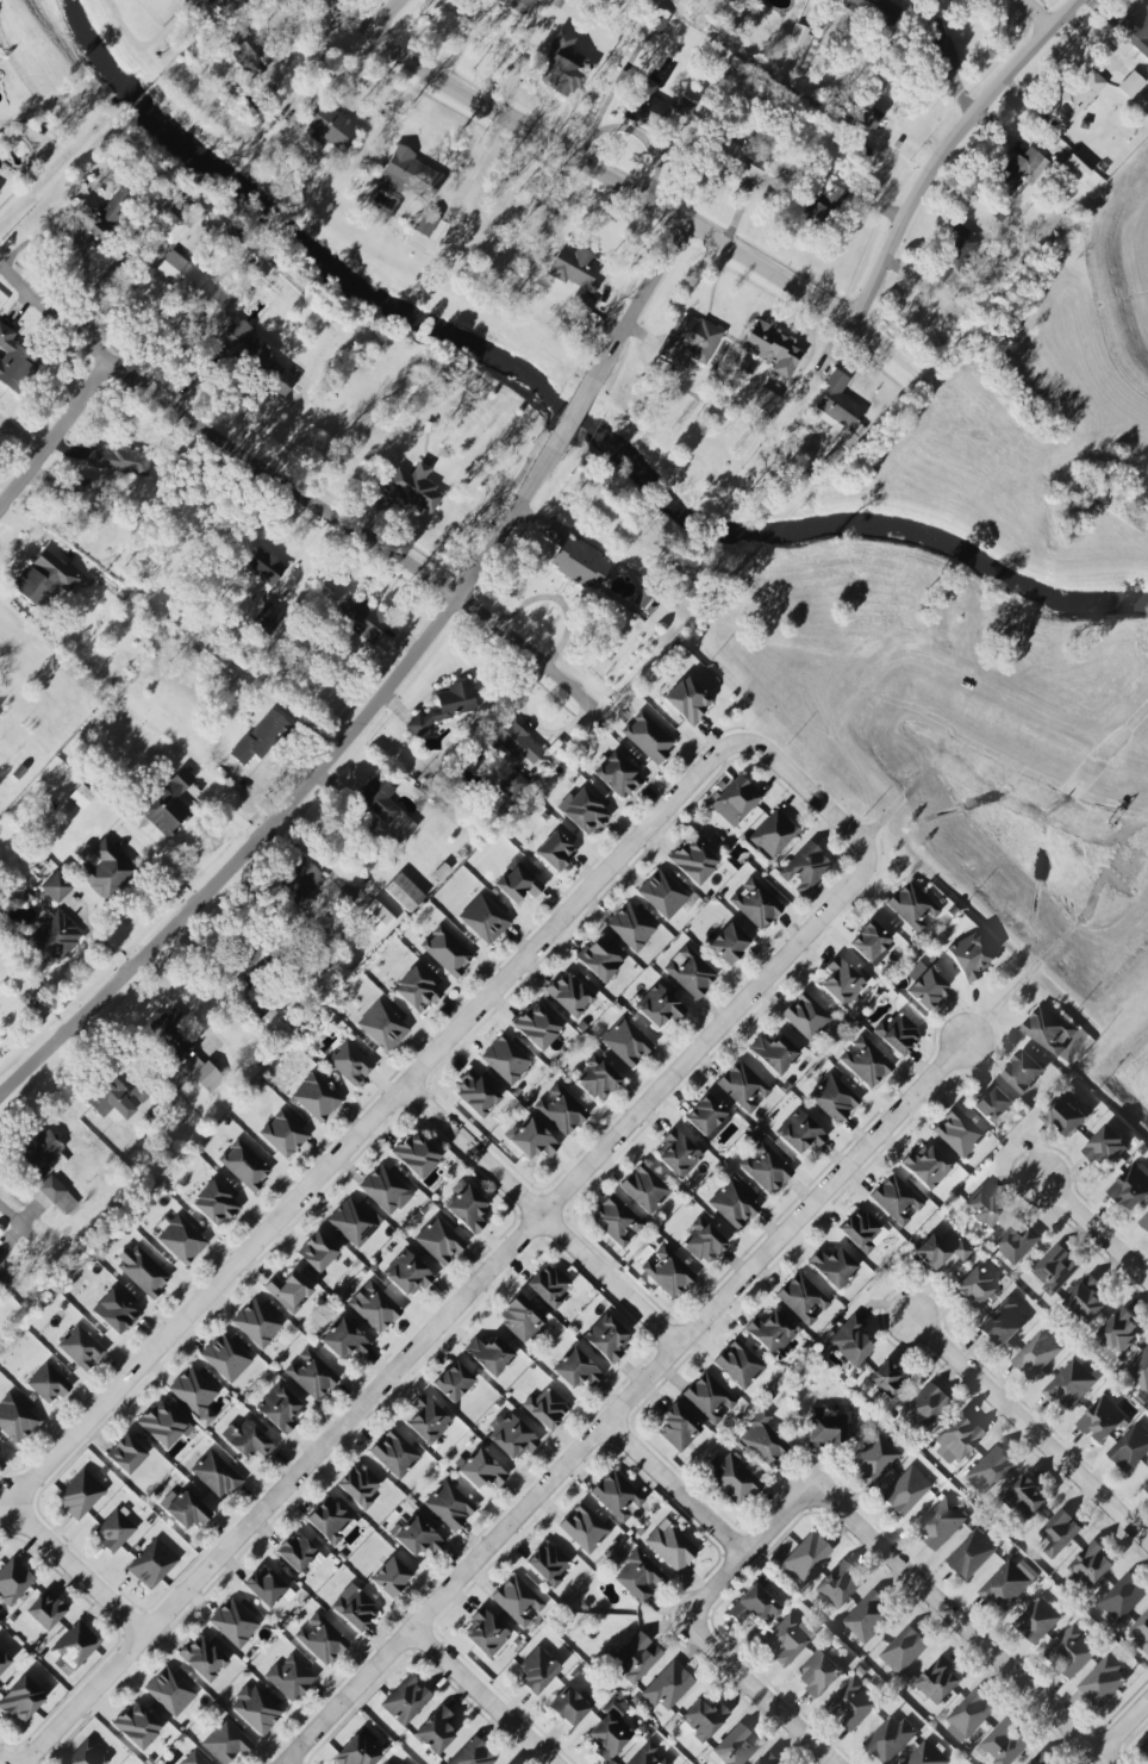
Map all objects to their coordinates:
building: (183, 0)
building: (518, 5)
building: (874, 11)
road: (381, 15)
road: (1028, 17)
road: (478, 30)
building: (1137, 32)
building: (798, 35)
road: (146, 43)
building: (941, 45)
building: (247, 51)
building: (562, 66)
building: (1130, 85)
building: (1077, 96)
building: (661, 111)
building: (868, 117)
building: (331, 127)
road: (634, 131)
road: (944, 148)
building: (738, 160)
building: (1074, 168)
building: (1021, 170)
building: (408, 176)
road: (625, 188)
building: (824, 205)
building: (100, 217)
building: (425, 224)
building: (173, 230)
road: (75, 243)
building: (956, 254)
building: (576, 275)
building: (191, 282)
road: (644, 289)
building: (691, 339)
building: (773, 349)
building: (252, 356)
building: (13, 361)
building: (765, 401)
building: (837, 404)
road: (572, 412)
road: (54, 430)
building: (118, 460)
road: (301, 487)
building: (414, 488)
building: (575, 557)
building: (262, 571)
building: (43, 579)
building: (268, 617)
building: (364, 621)
building: (687, 700)
building: (450, 704)
road: (530, 725)
building: (648, 737)
building: (261, 738)
building: (513, 741)
building: (617, 775)
building: (512, 785)
road: (807, 792)
building: (81, 797)
building: (736, 800)
building: (168, 804)
road: (295, 804)
building: (385, 806)
building: (585, 812)
building: (770, 834)
building: (555, 852)
building: (693, 861)
building: (104, 868)
building: (805, 868)
building: (517, 883)
building: (301, 884)
building: (56, 886)
building: (404, 892)
building: (662, 893)
building: (755, 903)
building: (912, 906)
building: (376, 918)
building: (483, 918)
building: (631, 927)
building: (54, 939)
building: (728, 943)
building: (871, 943)
building: (447, 952)
building: (969, 958)
building: (599, 960)
building: (242, 972)
building: (690, 972)
building: (842, 981)
building: (924, 986)
building: (417, 990)
building: (569, 995)
building: (659, 1006)
building: (806, 1017)
building: (382, 1026)
building: (537, 1027)
building: (1049, 1030)
building: (897, 1034)
building: (626, 1042)
building: (185, 1051)
building: (774, 1053)
building: (506, 1059)
building: (865, 1061)
building: (350, 1062)
building: (1023, 1072)
building: (598, 1078)
building: (743, 1086)
building: (476, 1093)
building: (316, 1097)
building: (111, 1098)
building: (832, 1098)
building: (993, 1104)
building: (560, 1110)
building: (1065, 1114)
building: (707, 1117)
road: (374, 1120)
building: (800, 1133)
building: (957, 1133)
building: (283, 1134)
building: (532, 1140)
building: (1106, 1146)
building: (43, 1154)
building: (417, 1154)
building: (678, 1154)
building: (244, 1166)
building: (926, 1166)
building: (766, 1167)
building: (1131, 1186)
building: (51, 1189)
building: (383, 1189)
building: (644, 1189)
building: (897, 1199)
building: (67, 1203)
building: (214, 1204)
building: (734, 1204)
building: (984, 1208)
building: (467, 1209)
road: (541, 1216)
building: (616, 1221)
building: (352, 1222)
building: (1144, 1222)
road: (1094, 1229)
building: (860, 1230)
road: (32, 1236)
building: (182, 1240)
building: (439, 1241)
building: (703, 1242)
building: (1017, 1243)
building: (941, 1251)
building: (317, 1252)
building: (0, 1261)
building: (832, 1266)
building: (1055, 1270)
building: (142, 1271)
building: (667, 1272)
building: (407, 1274)
building: (548, 1285)
building: (975, 1285)
building: (288, 1291)
building: (801, 1298)
building: (1087, 1298)
building: (374, 1307)
road: (445, 1309)
building: (114, 1311)
building: (520, 1319)
building: (257, 1323)
building: (1003, 1324)
building: (1121, 1332)
building: (770, 1333)
building: (607, 1338)
building: (344, 1340)
building: (849, 1341)
building: (81, 1348)
building: (489, 1354)
building: (1036, 1355)
building: (226, 1357)
building: (738, 1364)
building: (576, 1370)
building: (1138, 1372)
building: (311, 1375)
building: (886, 1379)
building: (453, 1382)
building: (48, 1384)
building: (1071, 1385)
building: (194, 1395)
building: (709, 1398)
road: (626, 1400)
building: (545, 1408)
building: (280, 1409)
building: (923, 1409)
building: (15, 1419)
building: (428, 1420)
building: (1102, 1420)
building: (163, 1425)
building: (678, 1427)
building: (825, 1428)
road: (1029, 1428)
building: (512, 1438)
building: (247, 1440)
building: (763, 1440)
building: (956, 1440)
building: (1130, 1448)
building: (394, 1453)
building: (126, 1454)
building: (874, 1459)
building: (481, 1470)
building: (988, 1471)
building: (216, 1475)
building: (732, 1478)
building: (358, 1485)
road: (676, 1488)
building: (1146, 1489)
building: (905, 1491)
building: (80, 1495)
building: (617, 1496)
building: (1024, 1497)
building: (449, 1506)
building: (187, 1509)
building: (331, 1520)
building: (941, 1523)
building: (584, 1528)
building: (116, 1529)
building: (1059, 1533)
building: (417, 1538)
building: (670, 1546)
building: (299, 1553)
road: (745, 1553)
building: (972, 1554)
building: (805, 1558)
building: (152, 1564)
building: (548, 1564)
building: (1091, 1567)
road: (76, 1570)
building: (389, 1577)
building: (638, 1577)
building: (13, 1582)
building: (1009, 1584)
building: (840, 1587)
building: (266, 1588)
building: (1122, 1598)
building: (518, 1601)
building: (754, 1606)
building: (45, 1610)
building: (355, 1610)
building: (867, 1619)
building: (1037, 1620)
building: (233, 1622)
road: (957, 1626)
building: (486, 1633)
building: (1140, 1633)
building: (322, 1639)
building: (787, 1640)
building: (74, 1647)
building: (904, 1650)
building: (1072, 1652)
building: (636, 1657)
building: (202, 1658)
building: (4, 1662)
building: (537, 1670)
building: (821, 1672)
building: (291, 1677)
building: (940, 1681)
building: (1103, 1682)
building: (667, 1688)
building: (170, 1691)
road: (756, 1691)
road: (481, 1696)
building: (21, 1700)
building: (405, 1700)
building: (853, 1703)
building: (570, 1706)
building: (255, 1709)
building: (969, 1715)
building: (703, 1719)
building: (137, 1726)
road: (1122, 1727)
building: (436, 1731)
building: (610, 1732)
building: (891, 1739)
building: (225, 1743)
building: (1005, 1744)
building: (1146, 1745)
building: (736, 1746)
building: (357, 1750)
building: (473, 1753)
building: (87, 1754)
building: (649, 1756)
building: (193, 1758)
building: (768, 1759)
building: (1041, 1759)
road: (1, 1762)
building: (395, 1762)

